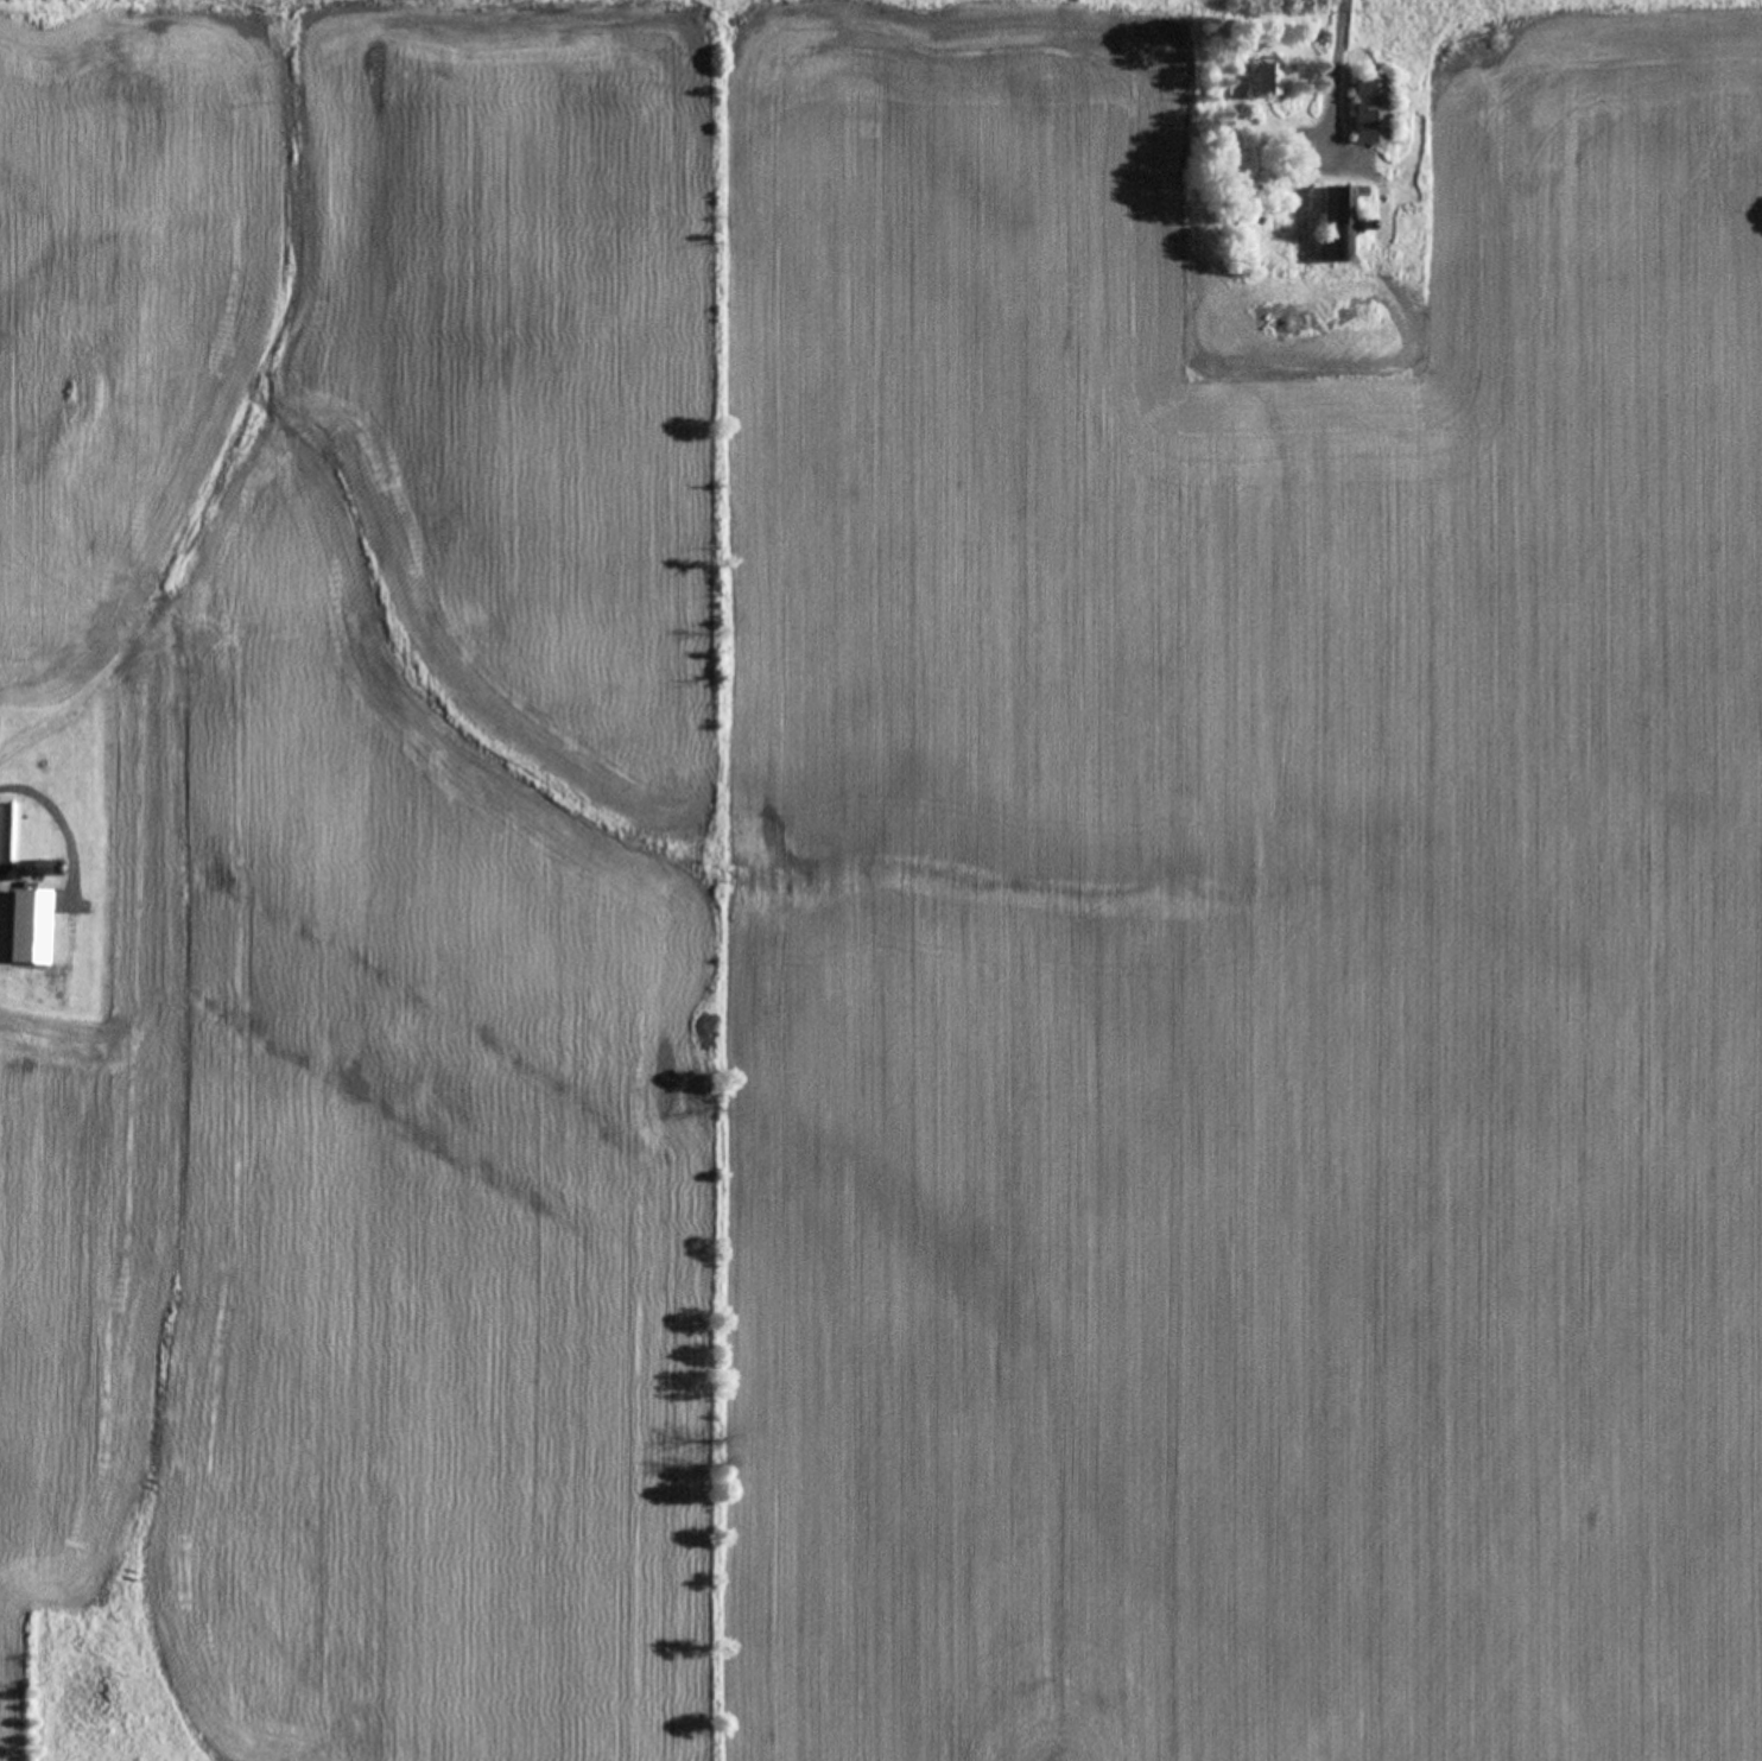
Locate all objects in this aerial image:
building: (1265, 81)
building: (1367, 110)
building: (1333, 224)
building: (6, 837)

